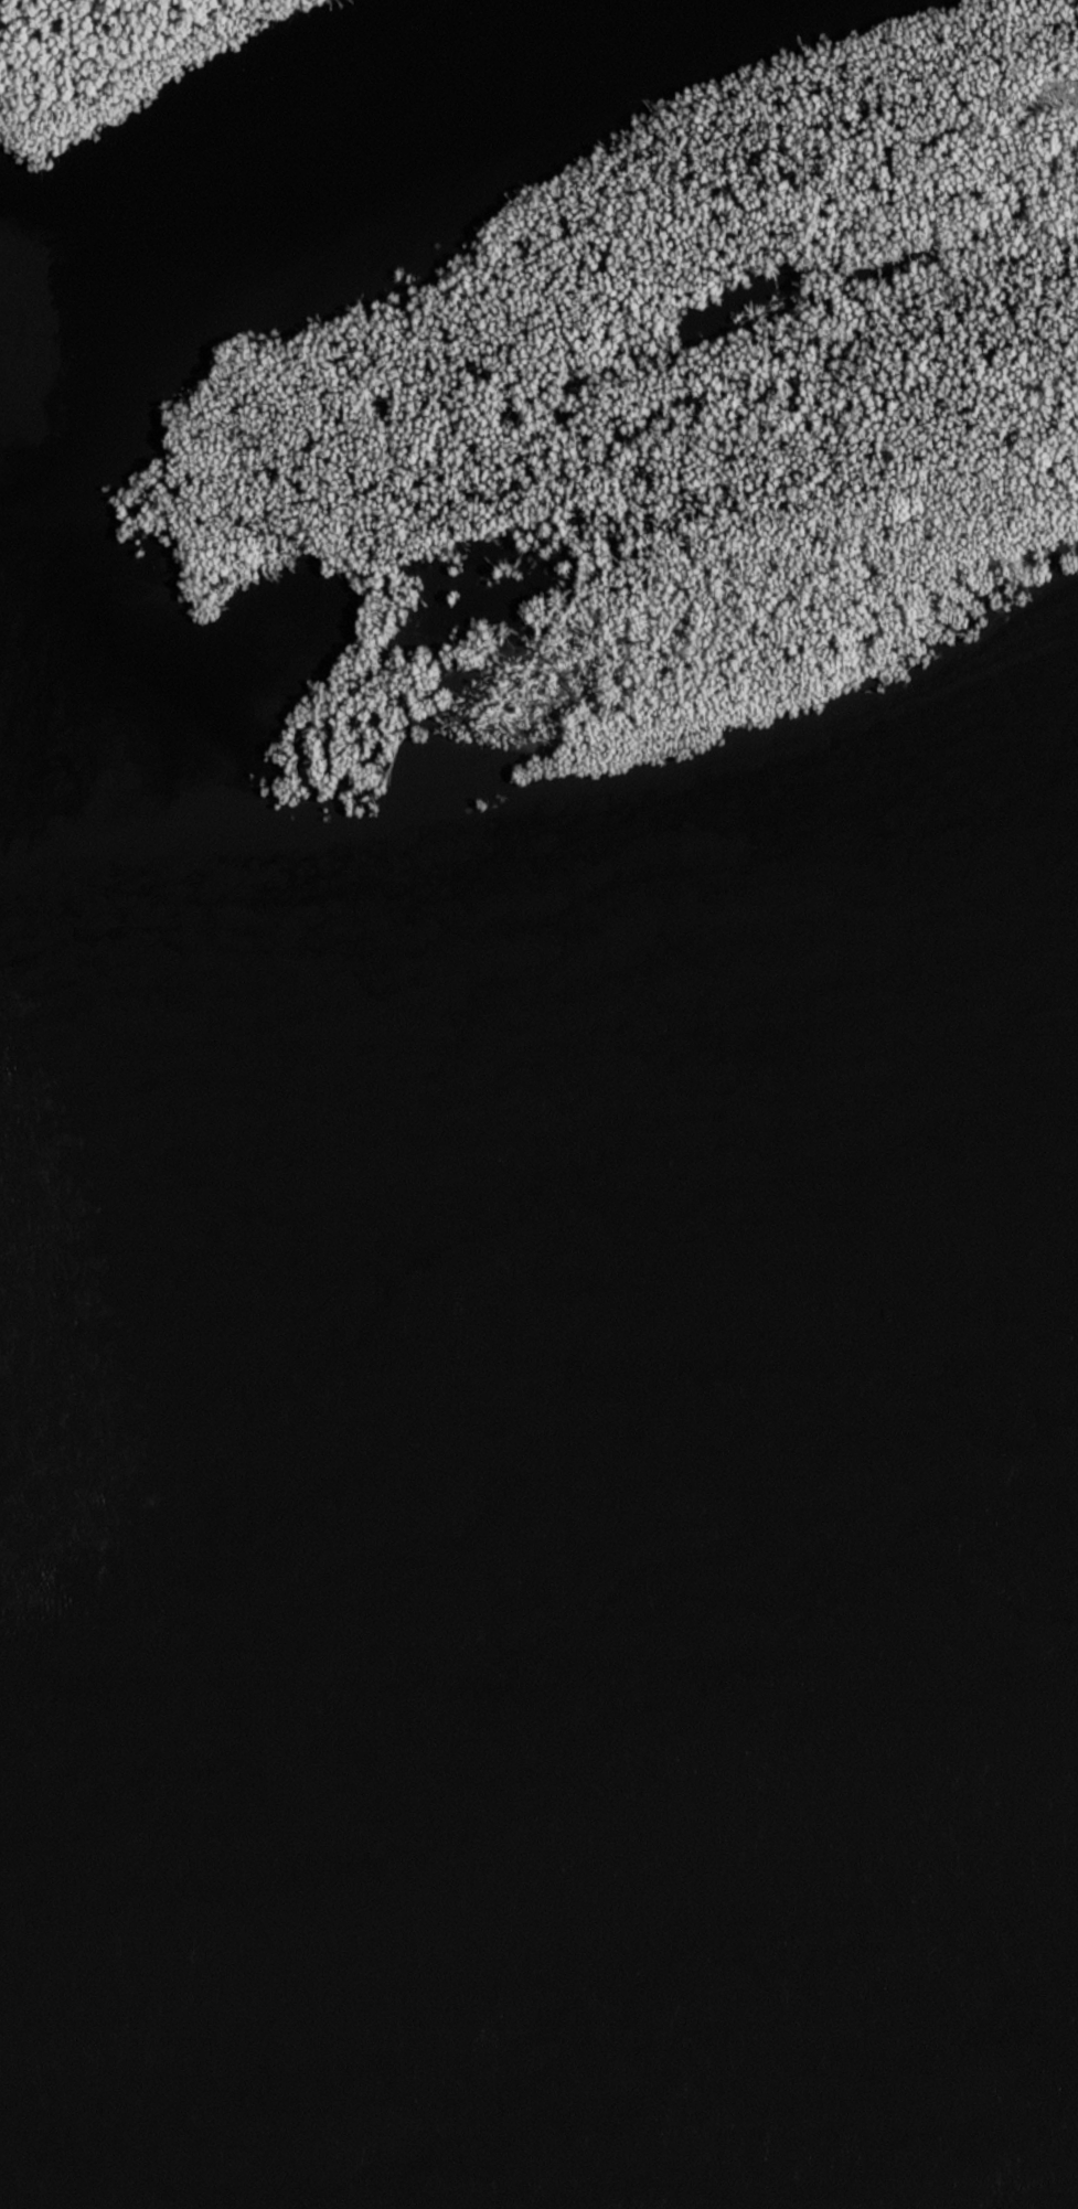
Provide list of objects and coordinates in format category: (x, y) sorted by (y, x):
river: (548, 2069)

